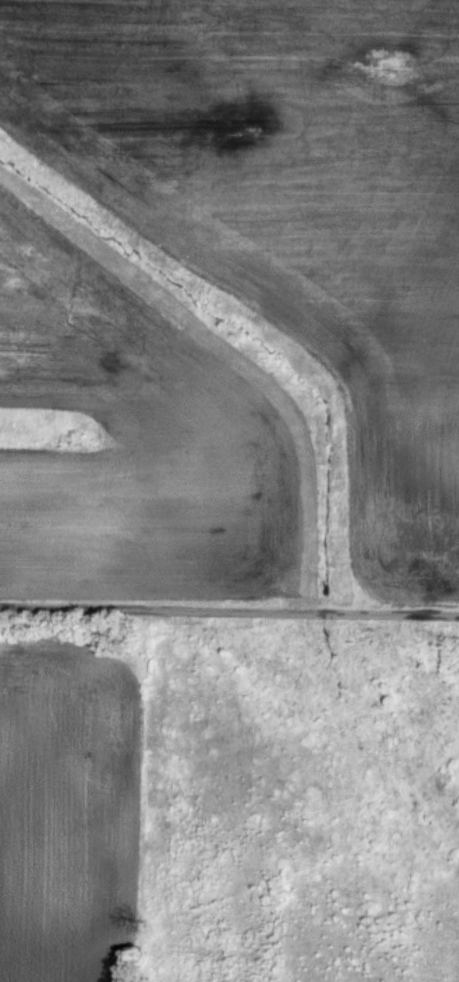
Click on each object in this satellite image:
road: (229, 610)

